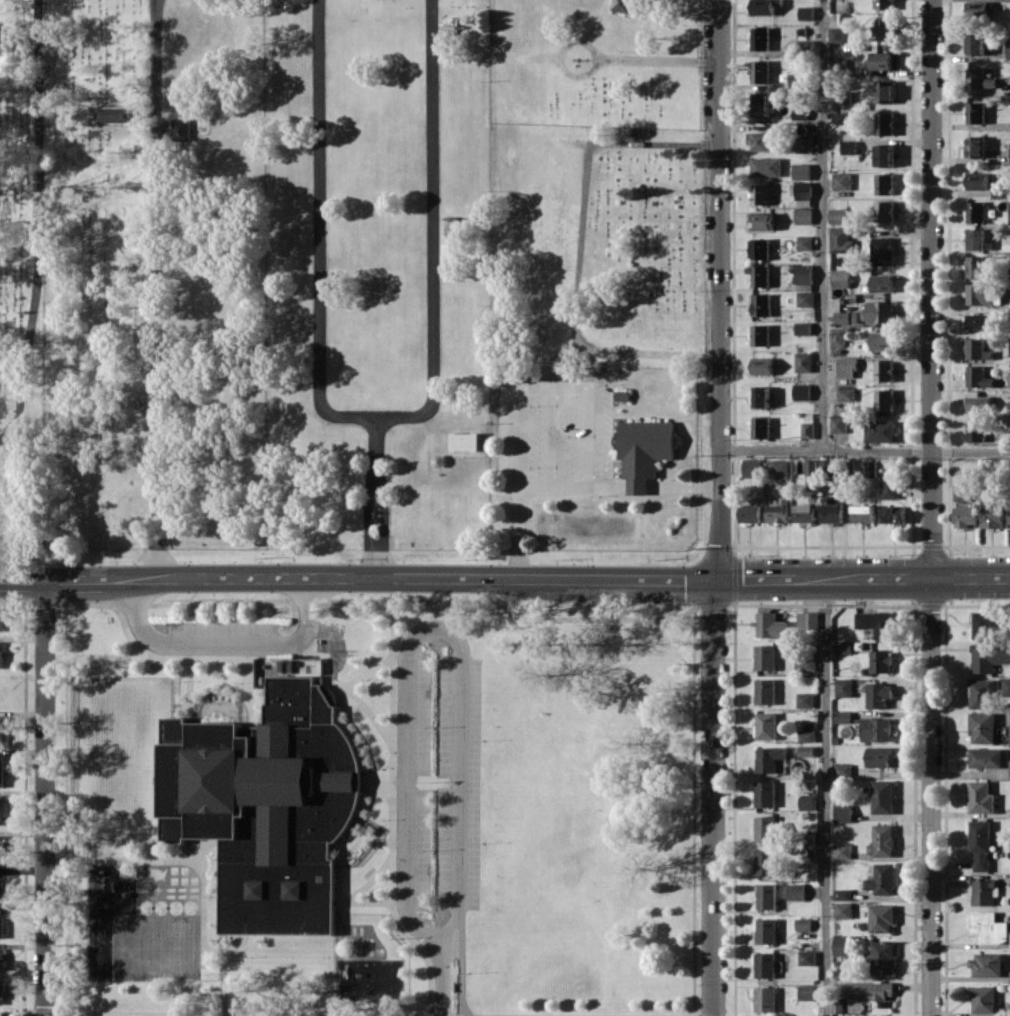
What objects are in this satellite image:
building: (885, 4)
building: (624, 5)
building: (764, 7)
building: (978, 9)
building: (807, 12)
building: (885, 29)
building: (838, 34)
building: (761, 38)
building: (979, 44)
building: (1008, 50)
building: (885, 60)
park: (594, 62)
building: (839, 66)
building: (761, 71)
building: (979, 78)
building: (885, 92)
building: (844, 98)
building: (761, 104)
building: (976, 112)
building: (115, 114)
building: (844, 117)
building: (885, 123)
building: (181, 129)
building: (763, 141)
building: (805, 145)
building: (850, 146)
building: (976, 146)
building: (885, 155)
building: (866, 161)
building: (766, 166)
building: (802, 171)
building: (978, 180)
building: (842, 181)
building: (885, 184)
building: (805, 193)
building: (761, 194)
building: (885, 211)
building: (976, 211)
building: (804, 215)
building: (839, 216)
building: (763, 221)
building: (1009, 221)
road: (39, 223)
road: (823, 225)
road: (432, 232)
building: (977, 238)
building: (842, 240)
building: (806, 242)
park: (595, 244)
building: (761, 248)
road: (580, 250)
building: (883, 250)
building: (977, 266)
park: (153, 273)
park: (375, 273)
building: (805, 273)
building: (760, 275)
building: (842, 278)
park: (21, 283)
building: (883, 283)
road: (156, 289)
building: (981, 293)
building: (806, 298)
building: (762, 304)
building: (881, 311)
road: (319, 312)
building: (847, 317)
building: (980, 321)
building: (804, 328)
building: (761, 335)
building: (839, 336)
building: (883, 340)
building: (804, 361)
building: (763, 365)
building: (848, 367)
building: (885, 370)
building: (979, 376)
building: (1009, 379)
road: (535, 384)
building: (803, 391)
building: (847, 394)
building: (761, 396)
building: (885, 399)
road: (588, 418)
building: (839, 423)
building: (761, 427)
building: (808, 430)
building: (976, 430)
building: (880, 431)
building: (464, 441)
building: (644, 450)
road: (864, 451)
building: (752, 468)
building: (780, 468)
road: (571, 485)
building: (890, 489)
building: (962, 492)
road: (720, 508)
road: (931, 508)
building: (832, 510)
building: (777, 511)
building: (1009, 512)
building: (749, 513)
building: (804, 513)
building: (863, 513)
building: (895, 513)
building: (965, 516)
building: (991, 516)
road: (504, 578)
building: (2, 617)
building: (807, 620)
building: (877, 623)
building: (986, 624)
road: (430, 625)
building: (770, 625)
road: (225, 644)
building: (1, 654)
building: (765, 657)
building: (989, 657)
building: (881, 661)
building: (805, 664)
building: (1006, 686)
building: (844, 687)
building: (765, 690)
building: (981, 693)
building: (879, 694)
building: (804, 699)
building: (842, 716)
building: (766, 725)
building: (983, 726)
building: (877, 729)
building: (2, 730)
building: (806, 736)
building: (880, 756)
building: (986, 757)
building: (769, 758)
building: (2, 769)
building: (842, 769)
building: (260, 777)
parking lot: (438, 784)
building: (765, 793)
building: (883, 796)
building: (981, 797)
road: (826, 798)
road: (44, 799)
building: (807, 801)
building: (1, 809)
park: (585, 811)
building: (843, 813)
building: (769, 829)
building: (882, 841)
building: (980, 843)
building: (1, 845)
building: (843, 851)
building: (765, 862)
building: (882, 879)
building: (258, 889)
building: (295, 889)
building: (796, 891)
building: (2, 892)
building: (983, 892)
building: (842, 893)
building: (766, 896)
building: (844, 910)
building: (249, 914)
building: (882, 918)
building: (1, 921)
building: (803, 924)
building: (989, 927)
building: (766, 930)
building: (844, 945)
park: (157, 946)
building: (97, 950)
building: (807, 957)
building: (883, 957)
building: (2, 958)
building: (765, 964)
building: (986, 964)
building: (1009, 978)
building: (870, 990)
building: (1, 992)
building: (807, 992)
building: (983, 998)
building: (765, 999)

